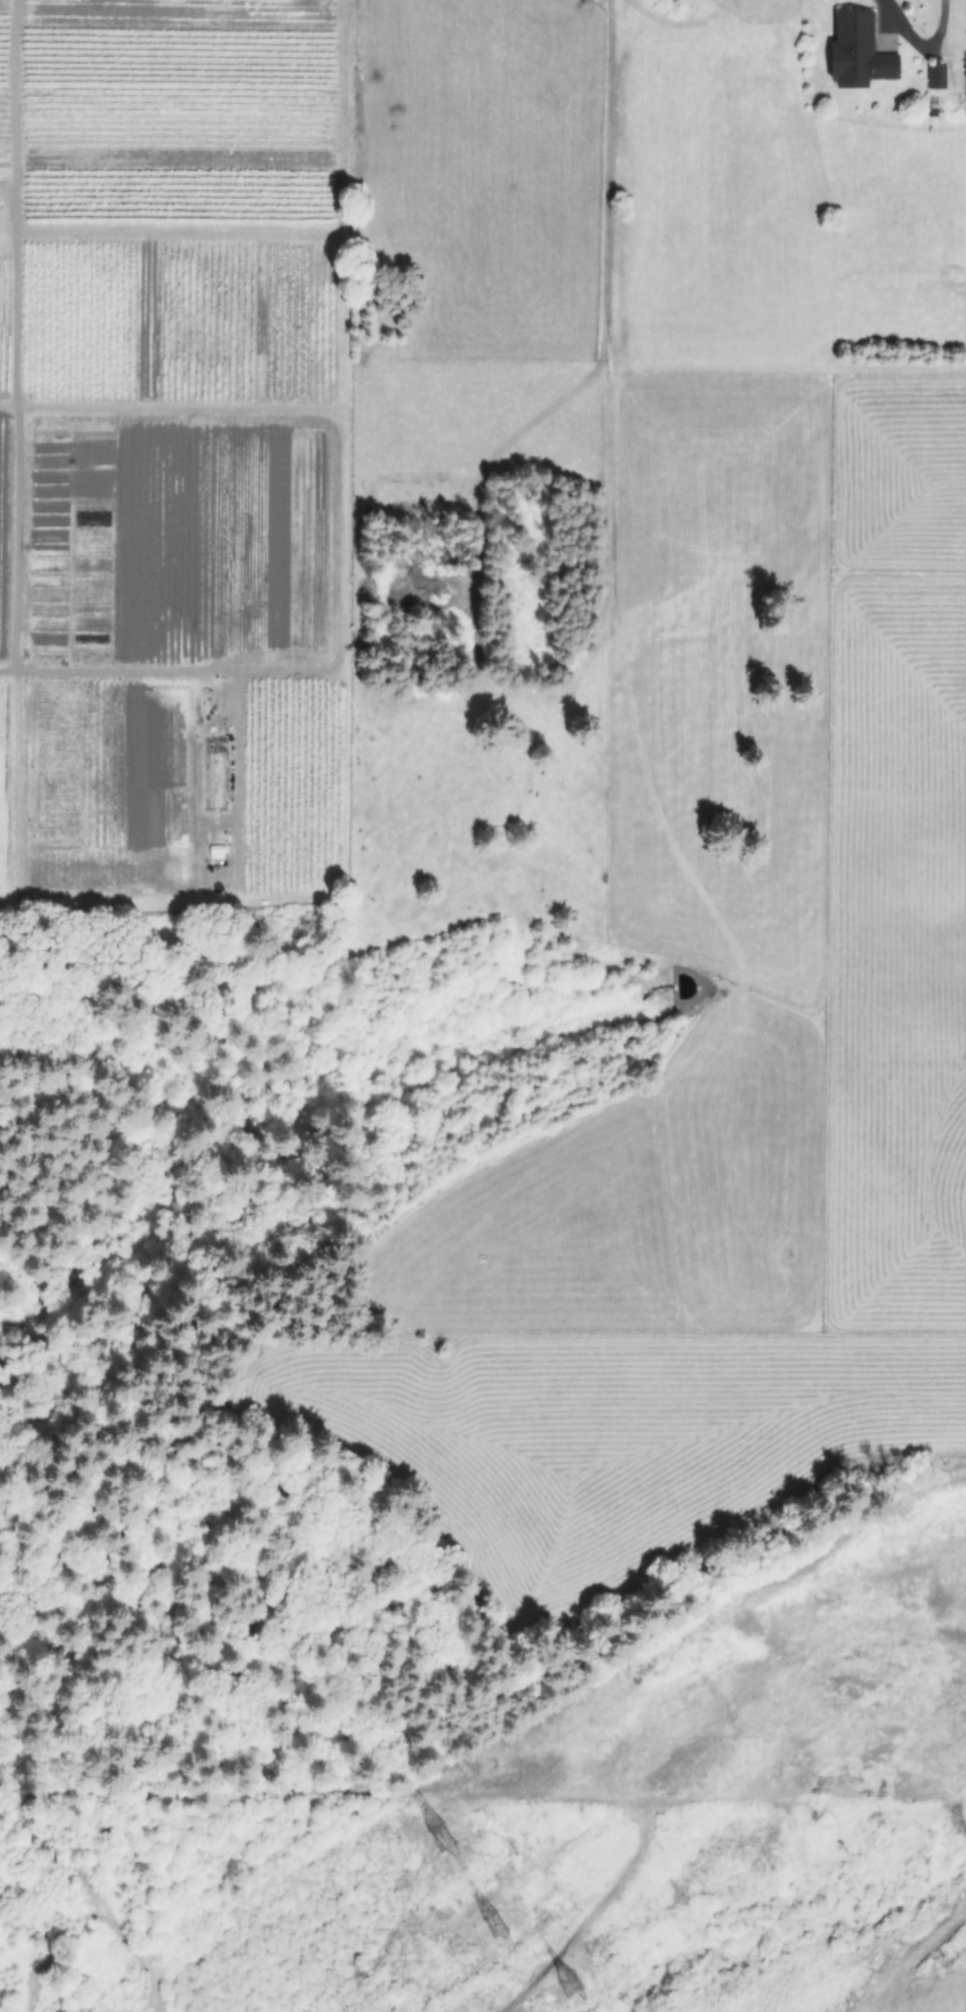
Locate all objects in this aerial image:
road: (899, 20)
building: (859, 53)
building: (935, 77)
power tower: (439, 1833)
power tower: (489, 1921)
power tower: (570, 1984)

